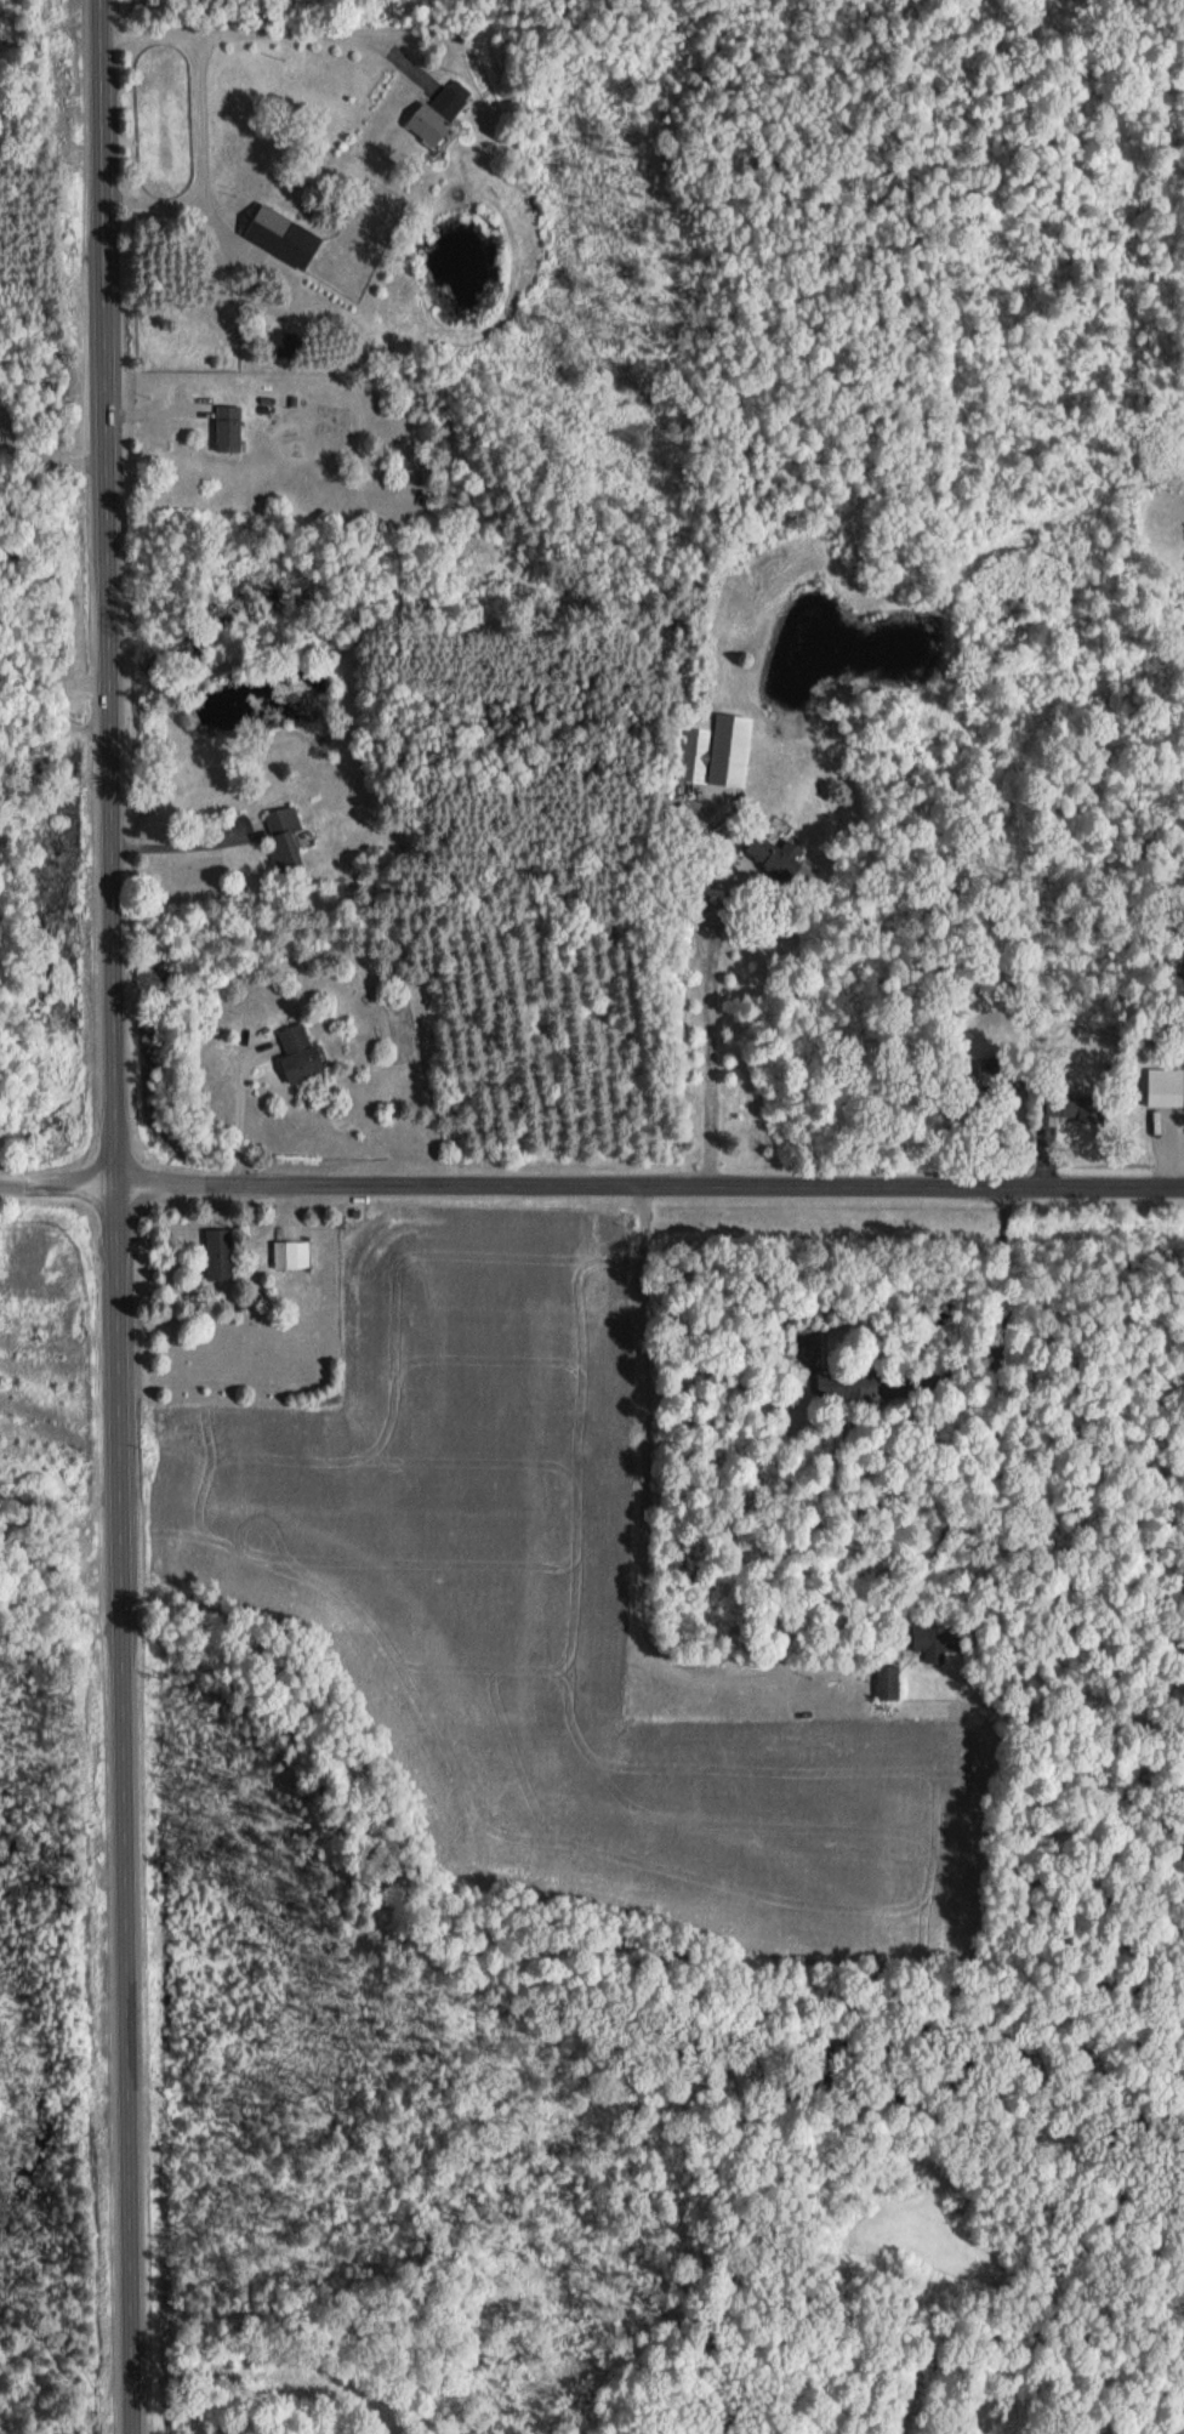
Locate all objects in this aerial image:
road: (294, 29)
building: (438, 112)
road: (200, 118)
building: (283, 235)
building: (228, 428)
road: (104, 590)
building: (695, 756)
building: (284, 837)
road: (183, 844)
building: (774, 859)
road: (711, 996)
building: (298, 1053)
building: (1075, 1107)
road: (649, 1182)
road: (57, 1183)
building: (218, 1253)
building: (291, 1255)
building: (844, 1384)
road: (992, 1417)
building: (932, 1644)
building: (887, 1682)
road: (123, 1808)

